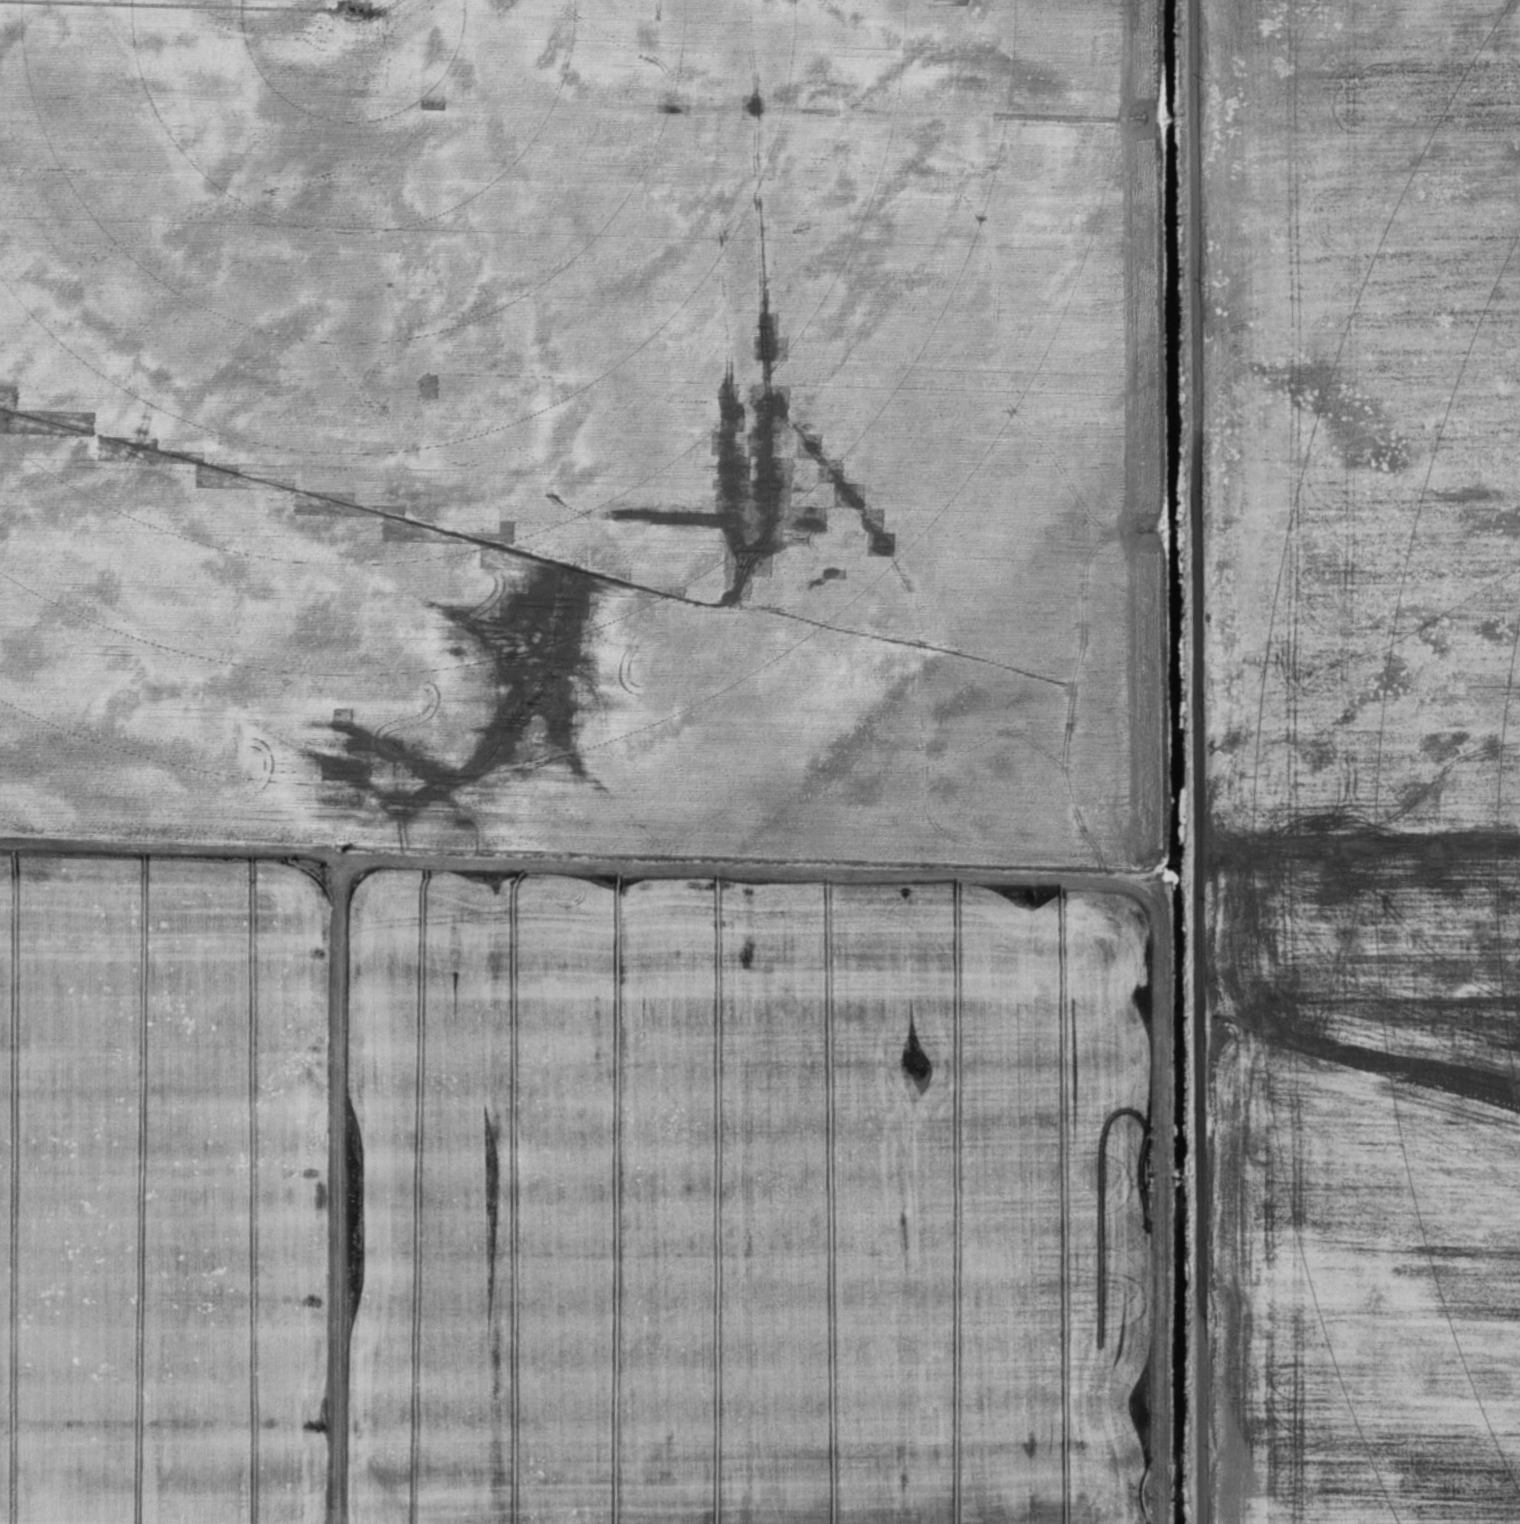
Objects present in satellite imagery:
road: (1202, 762)

